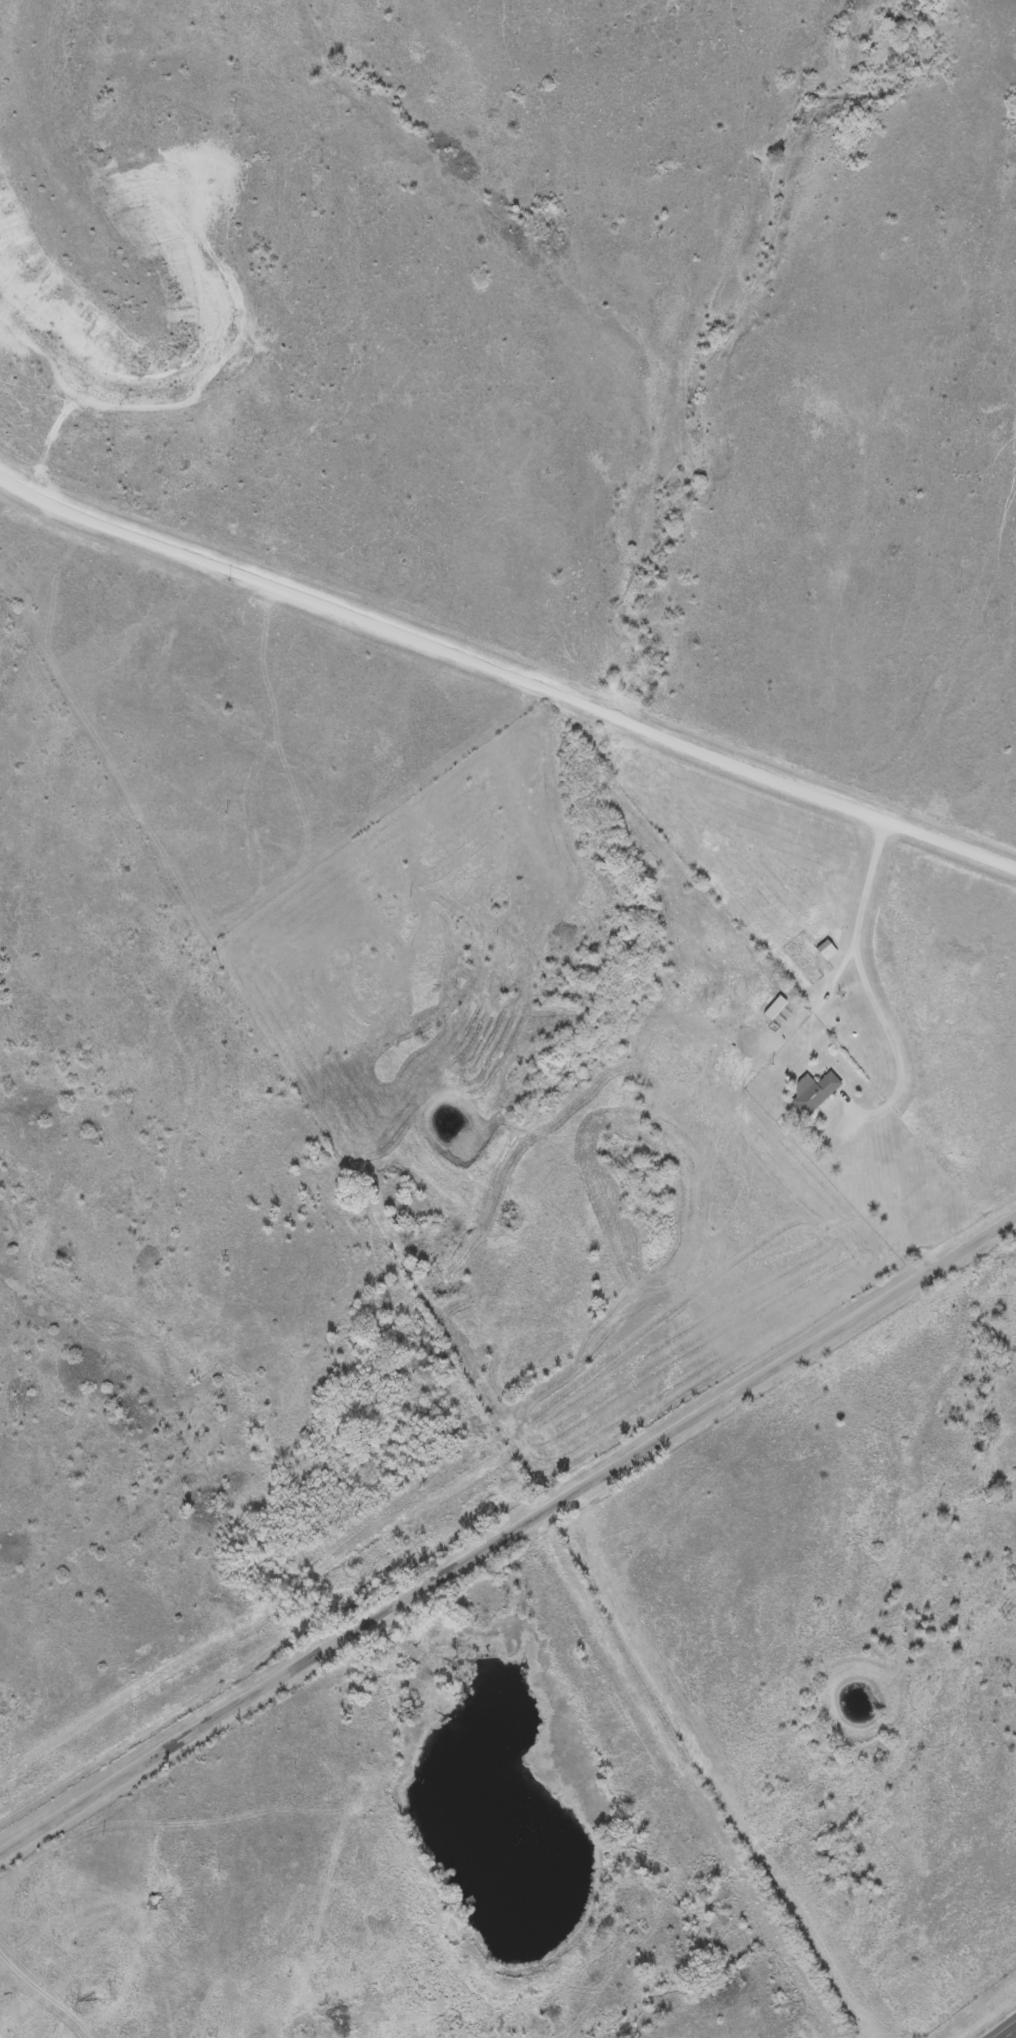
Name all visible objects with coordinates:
road: (506, 671)
building: (821, 950)
road: (869, 981)
building: (807, 1092)
road: (873, 1181)
road: (508, 1529)
building: (83, 1959)
road: (1008, 2032)

